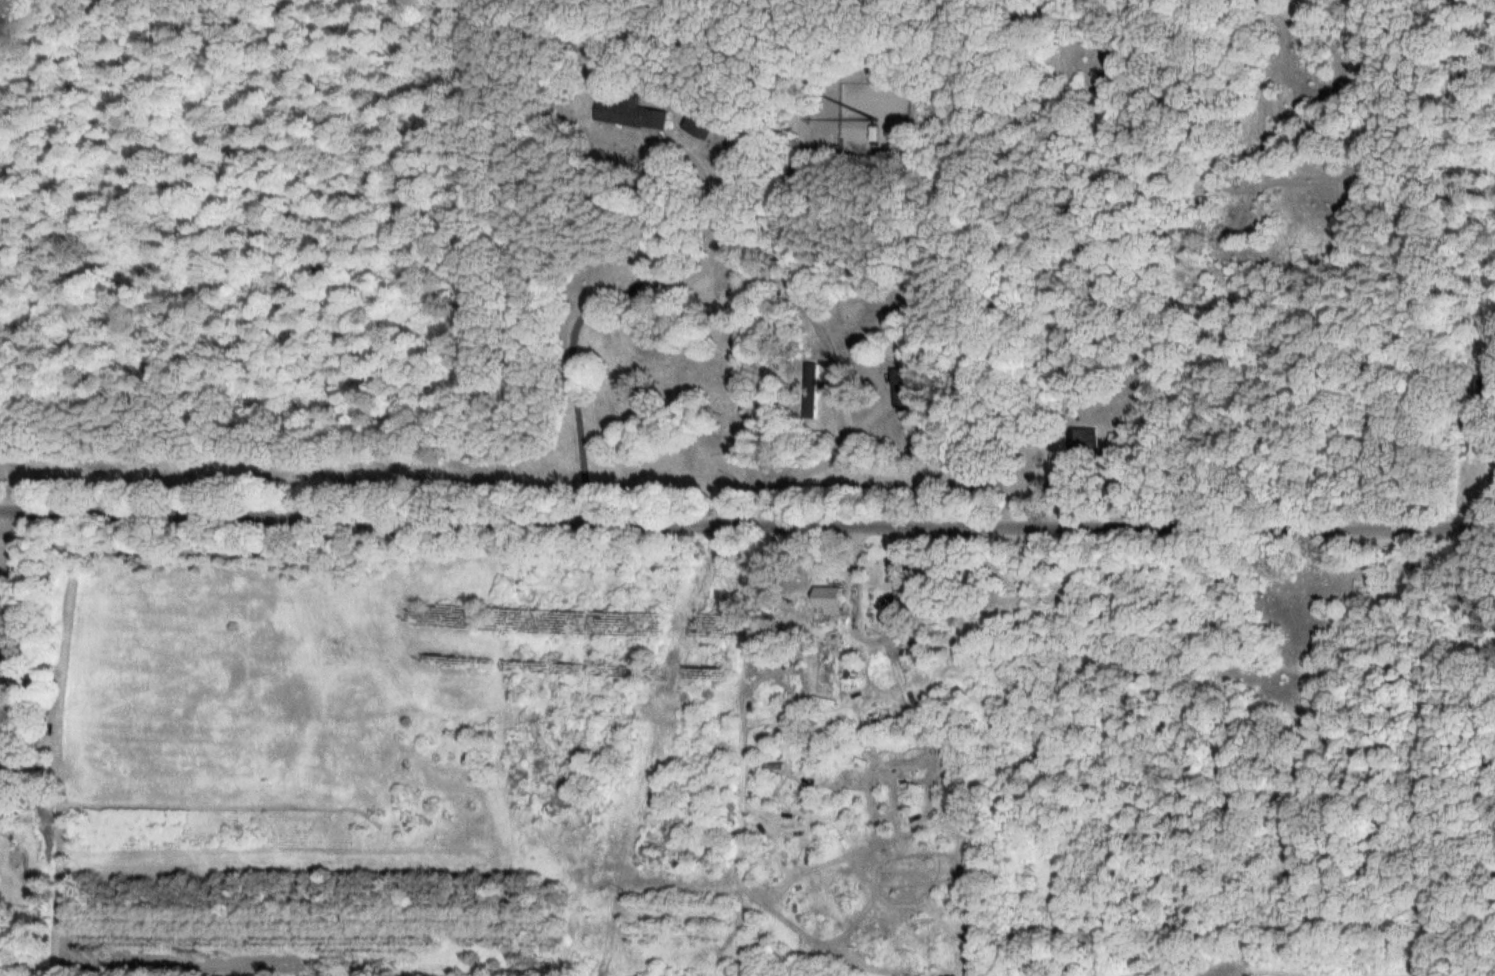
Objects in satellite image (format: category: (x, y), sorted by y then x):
road: (1480, 59)
building: (629, 113)
building: (697, 125)
road: (608, 295)
road: (812, 316)
building: (905, 389)
building: (811, 391)
building: (1086, 440)
building: (1117, 441)
road: (747, 511)
building: (827, 597)
building: (912, 655)

